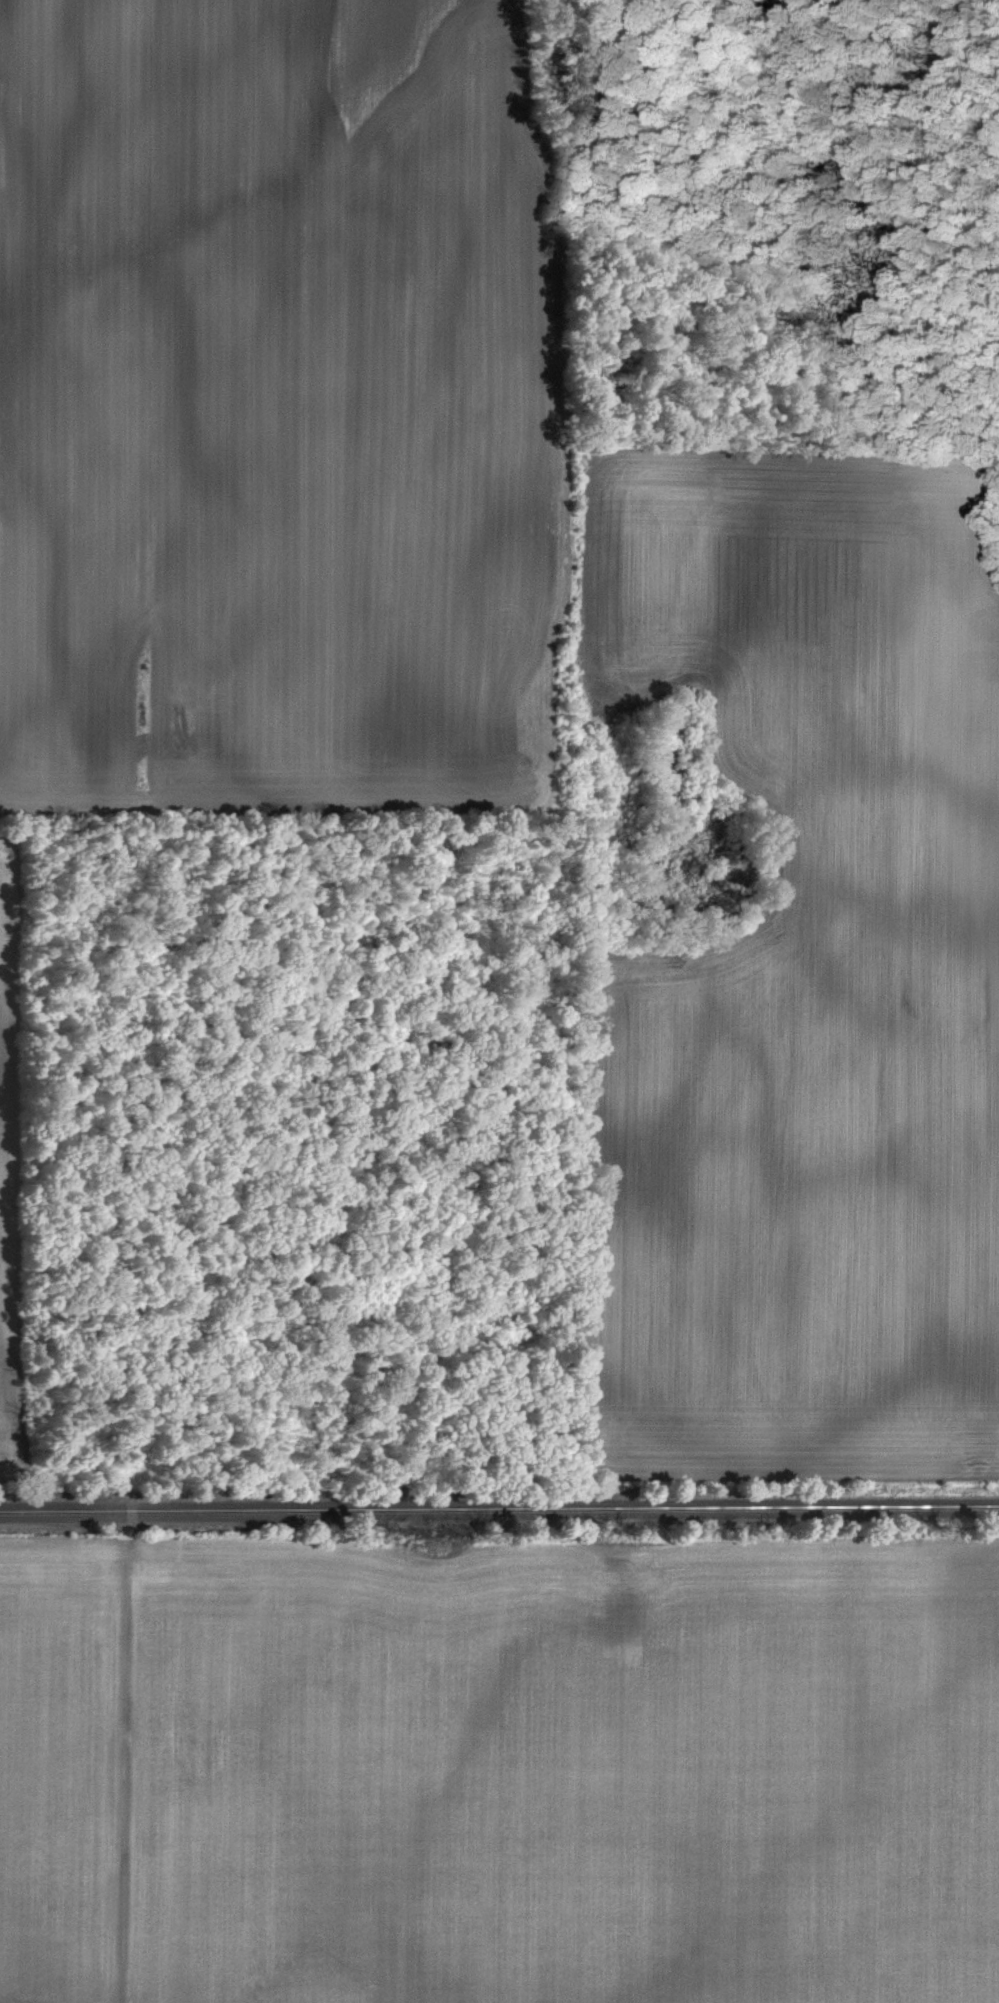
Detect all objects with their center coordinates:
railway: (499, 1509)

